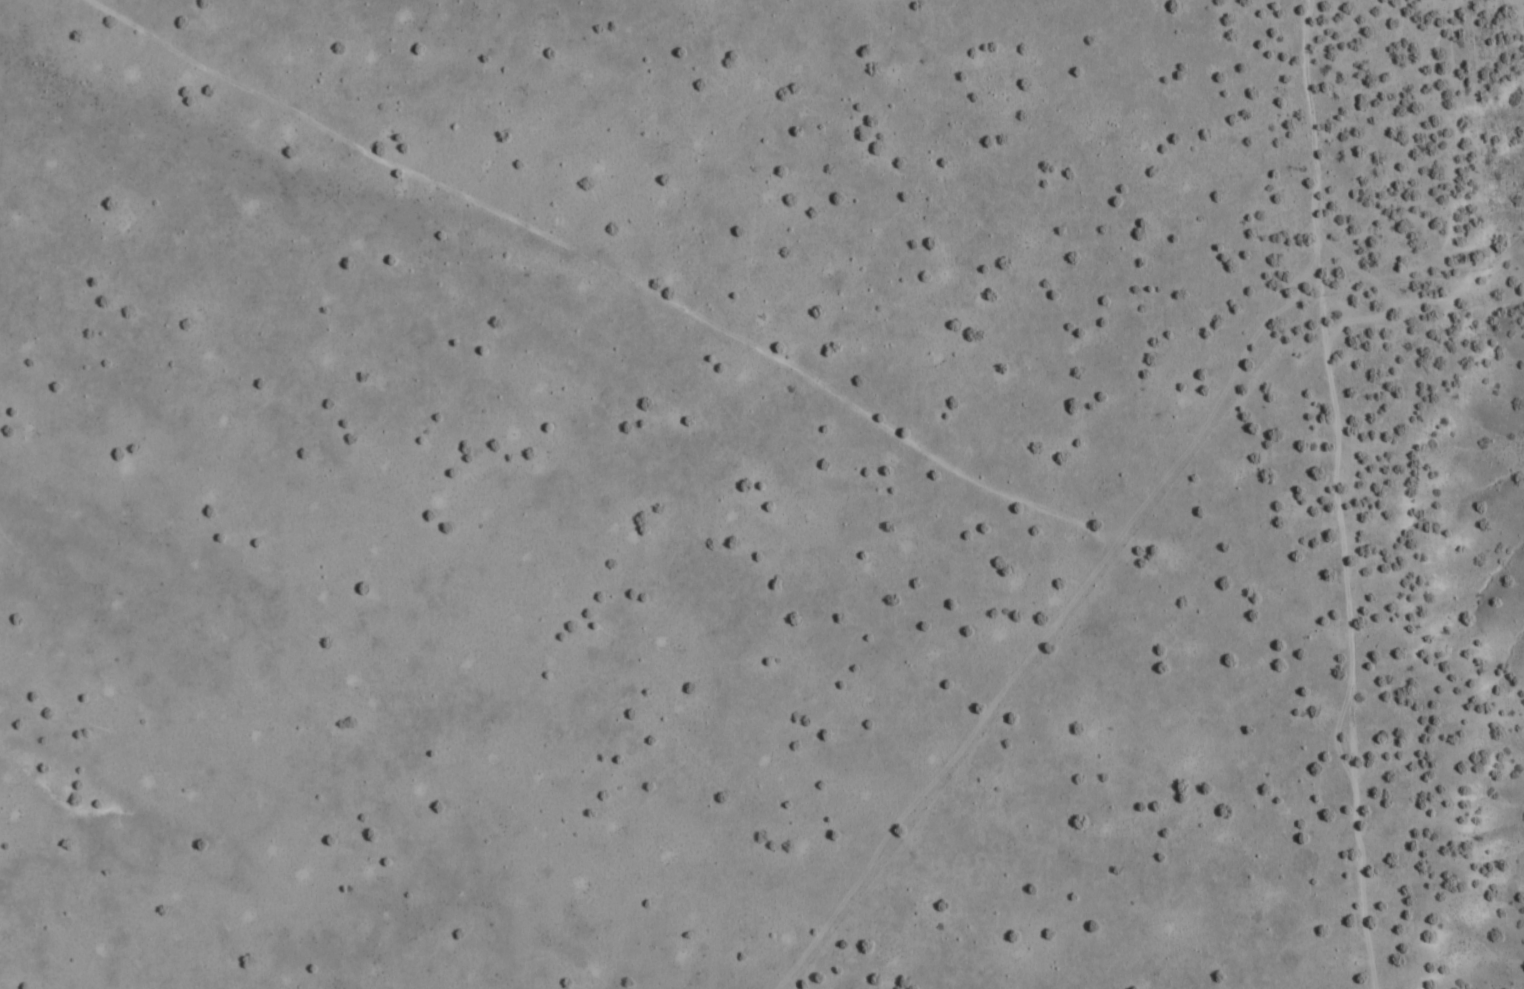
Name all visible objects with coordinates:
road: (1305, 494)

